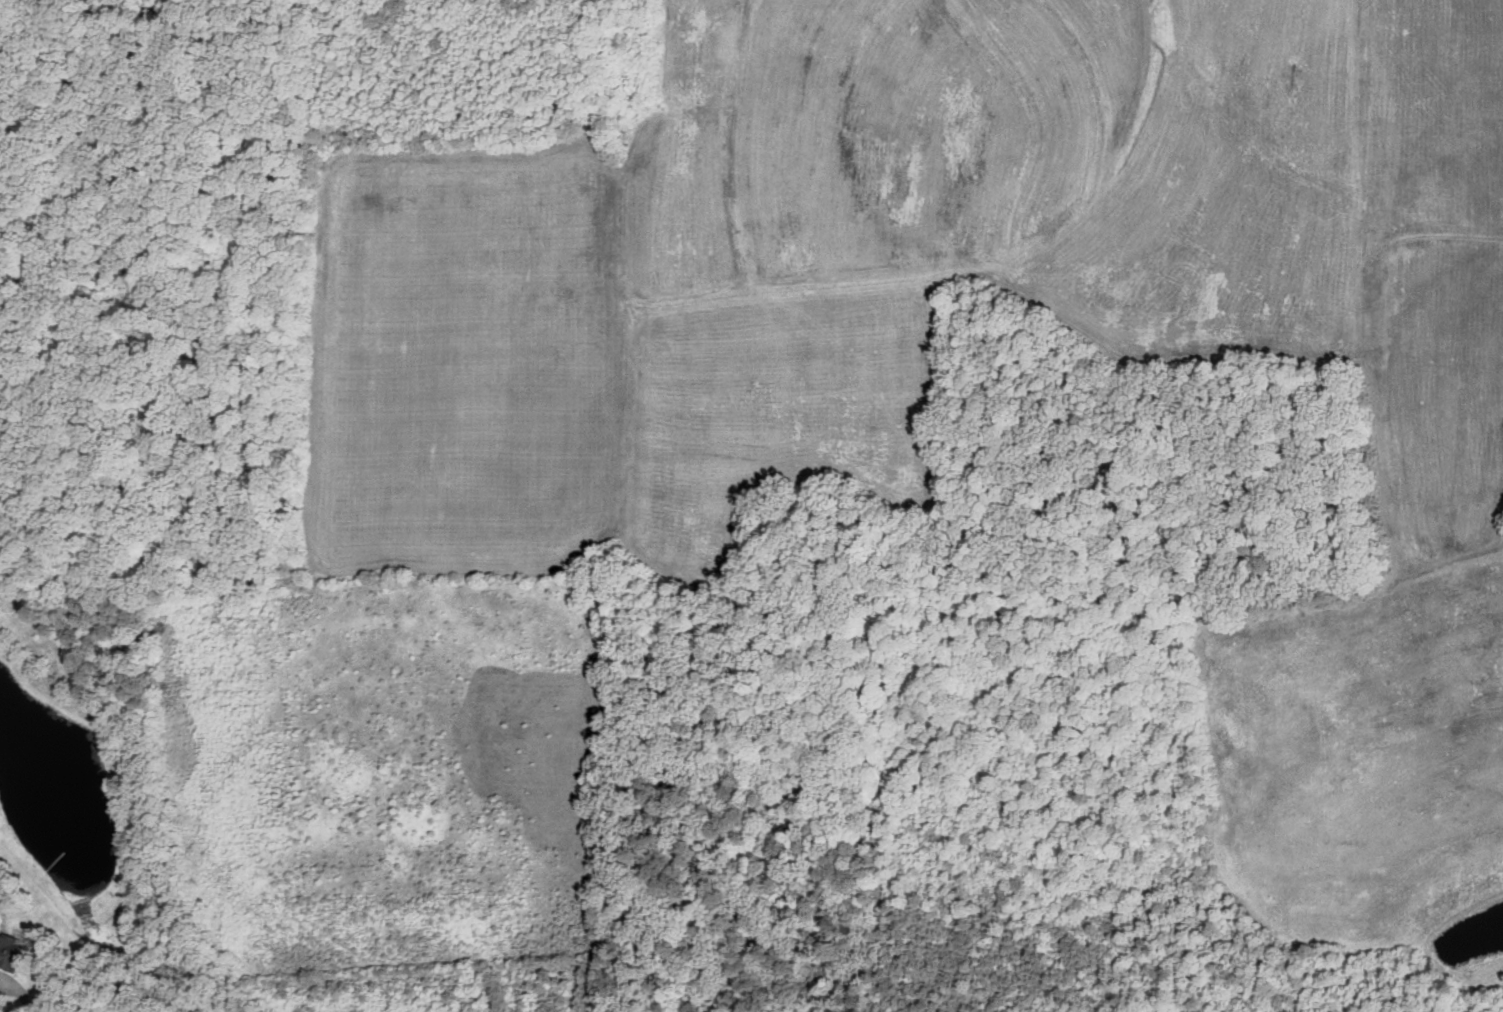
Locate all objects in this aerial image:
building: (13, 951)
road: (24, 997)

